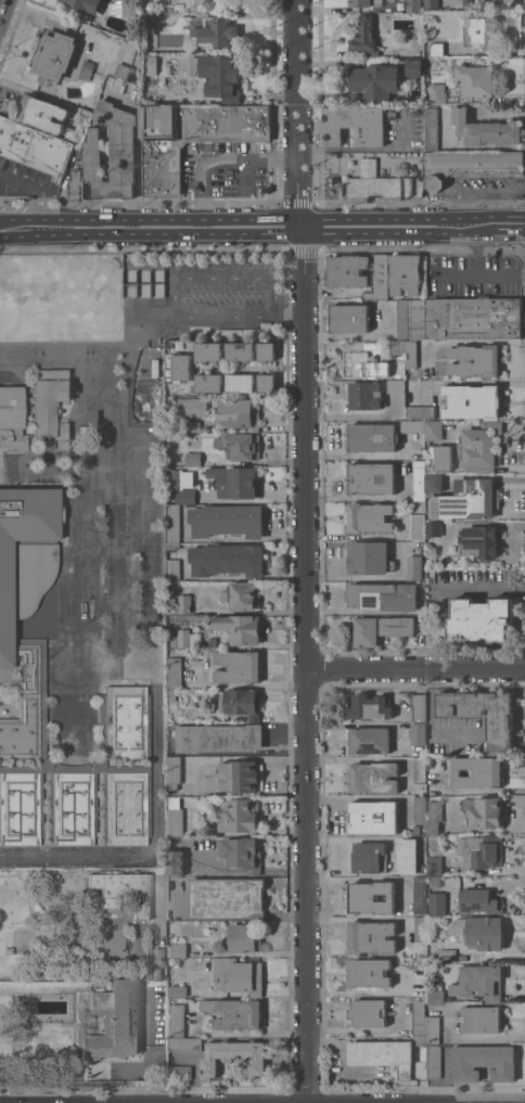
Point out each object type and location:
building: (367, 2)
building: (468, 2)
road: (1, 3)
building: (86, 4)
building: (432, 4)
building: (413, 5)
building: (123, 8)
building: (162, 10)
building: (148, 18)
building: (216, 31)
building: (479, 31)
building: (366, 37)
building: (437, 49)
building: (55, 56)
building: (151, 65)
building: (414, 67)
building: (126, 72)
building: (220, 76)
building: (375, 81)
building: (476, 81)
building: (437, 93)
building: (87, 112)
building: (42, 114)
building: (356, 125)
building: (432, 129)
building: (486, 129)
building: (75, 134)
building: (192, 138)
building: (36, 148)
building: (112, 152)
road: (214, 161)
building: (470, 165)
road: (246, 172)
building: (381, 183)
building: (76, 184)
road: (38, 188)
road: (504, 226)
road: (242, 228)
road: (0, 229)
building: (348, 270)
building: (406, 273)
road: (477, 275)
road: (453, 277)
building: (379, 278)
road: (171, 286)
road: (289, 306)
building: (349, 318)
building: (473, 318)
building: (405, 319)
building: (419, 319)
building: (265, 329)
building: (241, 350)
building: (268, 350)
building: (209, 351)
building: (410, 354)
building: (397, 359)
road: (106, 360)
building: (475, 360)
building: (360, 364)
building: (181, 367)
building: (208, 383)
building: (240, 383)
building: (268, 383)
building: (396, 386)
building: (367, 395)
building: (51, 401)
building: (473, 401)
building: (192, 407)
building: (421, 412)
building: (240, 414)
building: (12, 419)
building: (191, 426)
building: (412, 426)
building: (434, 429)
building: (372, 437)
building: (242, 446)
building: (482, 447)
building: (419, 457)
building: (440, 457)
building: (194, 459)
building: (371, 478)
building: (181, 479)
building: (419, 479)
building: (235, 482)
building: (434, 483)
building: (185, 496)
building: (468, 500)
building: (371, 517)
building: (228, 521)
building: (174, 523)
building: (418, 523)
building: (434, 528)
road: (107, 531)
building: (478, 541)
building: (174, 546)
road: (304, 551)
building: (370, 557)
building: (228, 560)
building: (415, 567)
building: (174, 569)
building: (242, 595)
building: (383, 595)
building: (184, 604)
building: (481, 620)
building: (398, 626)
building: (240, 628)
building: (367, 631)
building: (188, 638)
building: (213, 641)
building: (25, 653)
building: (239, 667)
road: (414, 668)
building: (175, 672)
building: (171, 695)
building: (239, 703)
building: (370, 707)
building: (419, 707)
building: (483, 714)
building: (418, 733)
road: (285, 734)
building: (220, 738)
building: (370, 741)
building: (430, 761)
building: (420, 769)
building: (174, 772)
building: (478, 772)
building: (241, 775)
building: (107, 777)
building: (374, 777)
building: (420, 808)
building: (479, 810)
building: (240, 815)
building: (175, 816)
building: (373, 817)
building: (435, 818)
building: (417, 830)
road: (156, 835)
building: (482, 850)
building: (243, 854)
building: (407, 855)
building: (367, 856)
building: (176, 863)
building: (434, 865)
building: (422, 869)
building: (437, 878)
building: (124, 889)
building: (420, 895)
building: (371, 897)
building: (228, 898)
building: (479, 902)
building: (436, 903)
building: (170, 913)
building: (421, 928)
building: (479, 931)
building: (372, 936)
building: (245, 937)
building: (177, 949)
building: (158, 960)
building: (369, 972)
building: (240, 974)
building: (420, 982)
building: (479, 982)
building: (178, 991)
building: (436, 993)
building: (235, 1013)
building: (369, 1013)
building: (419, 1017)
building: (481, 1018)
building: (115, 1021)
building: (178, 1021)
building: (433, 1029)
building: (420, 1039)
building: (184, 1043)
building: (383, 1054)
building: (234, 1056)
building: (434, 1061)
building: (483, 1062)
road: (195, 1069)
building: (181, 1072)
road: (127, 1076)

